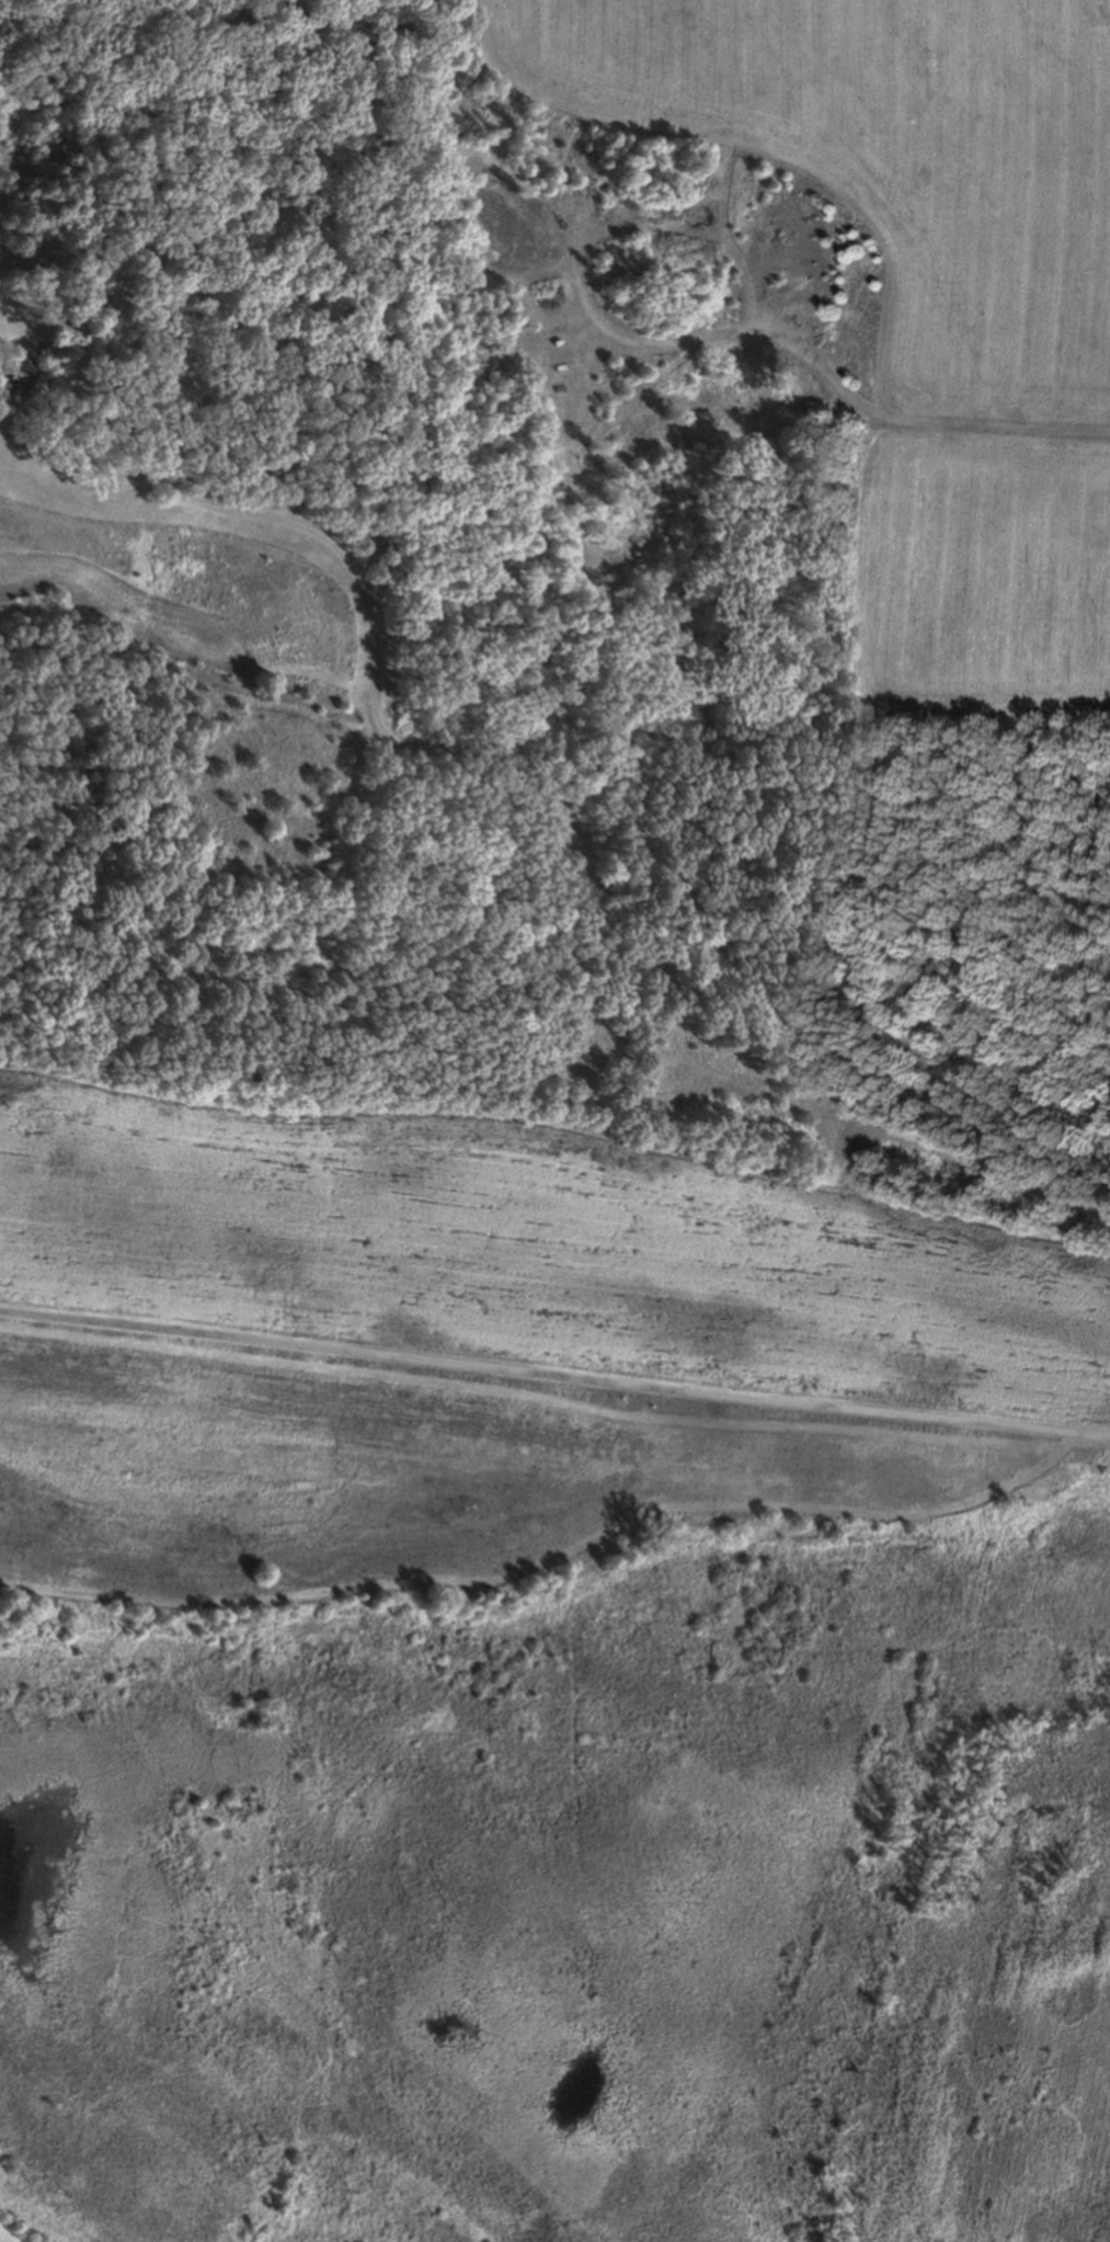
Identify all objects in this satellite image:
road: (782, 335)
building: (14, 375)
road: (522, 752)
road: (554, 1375)

